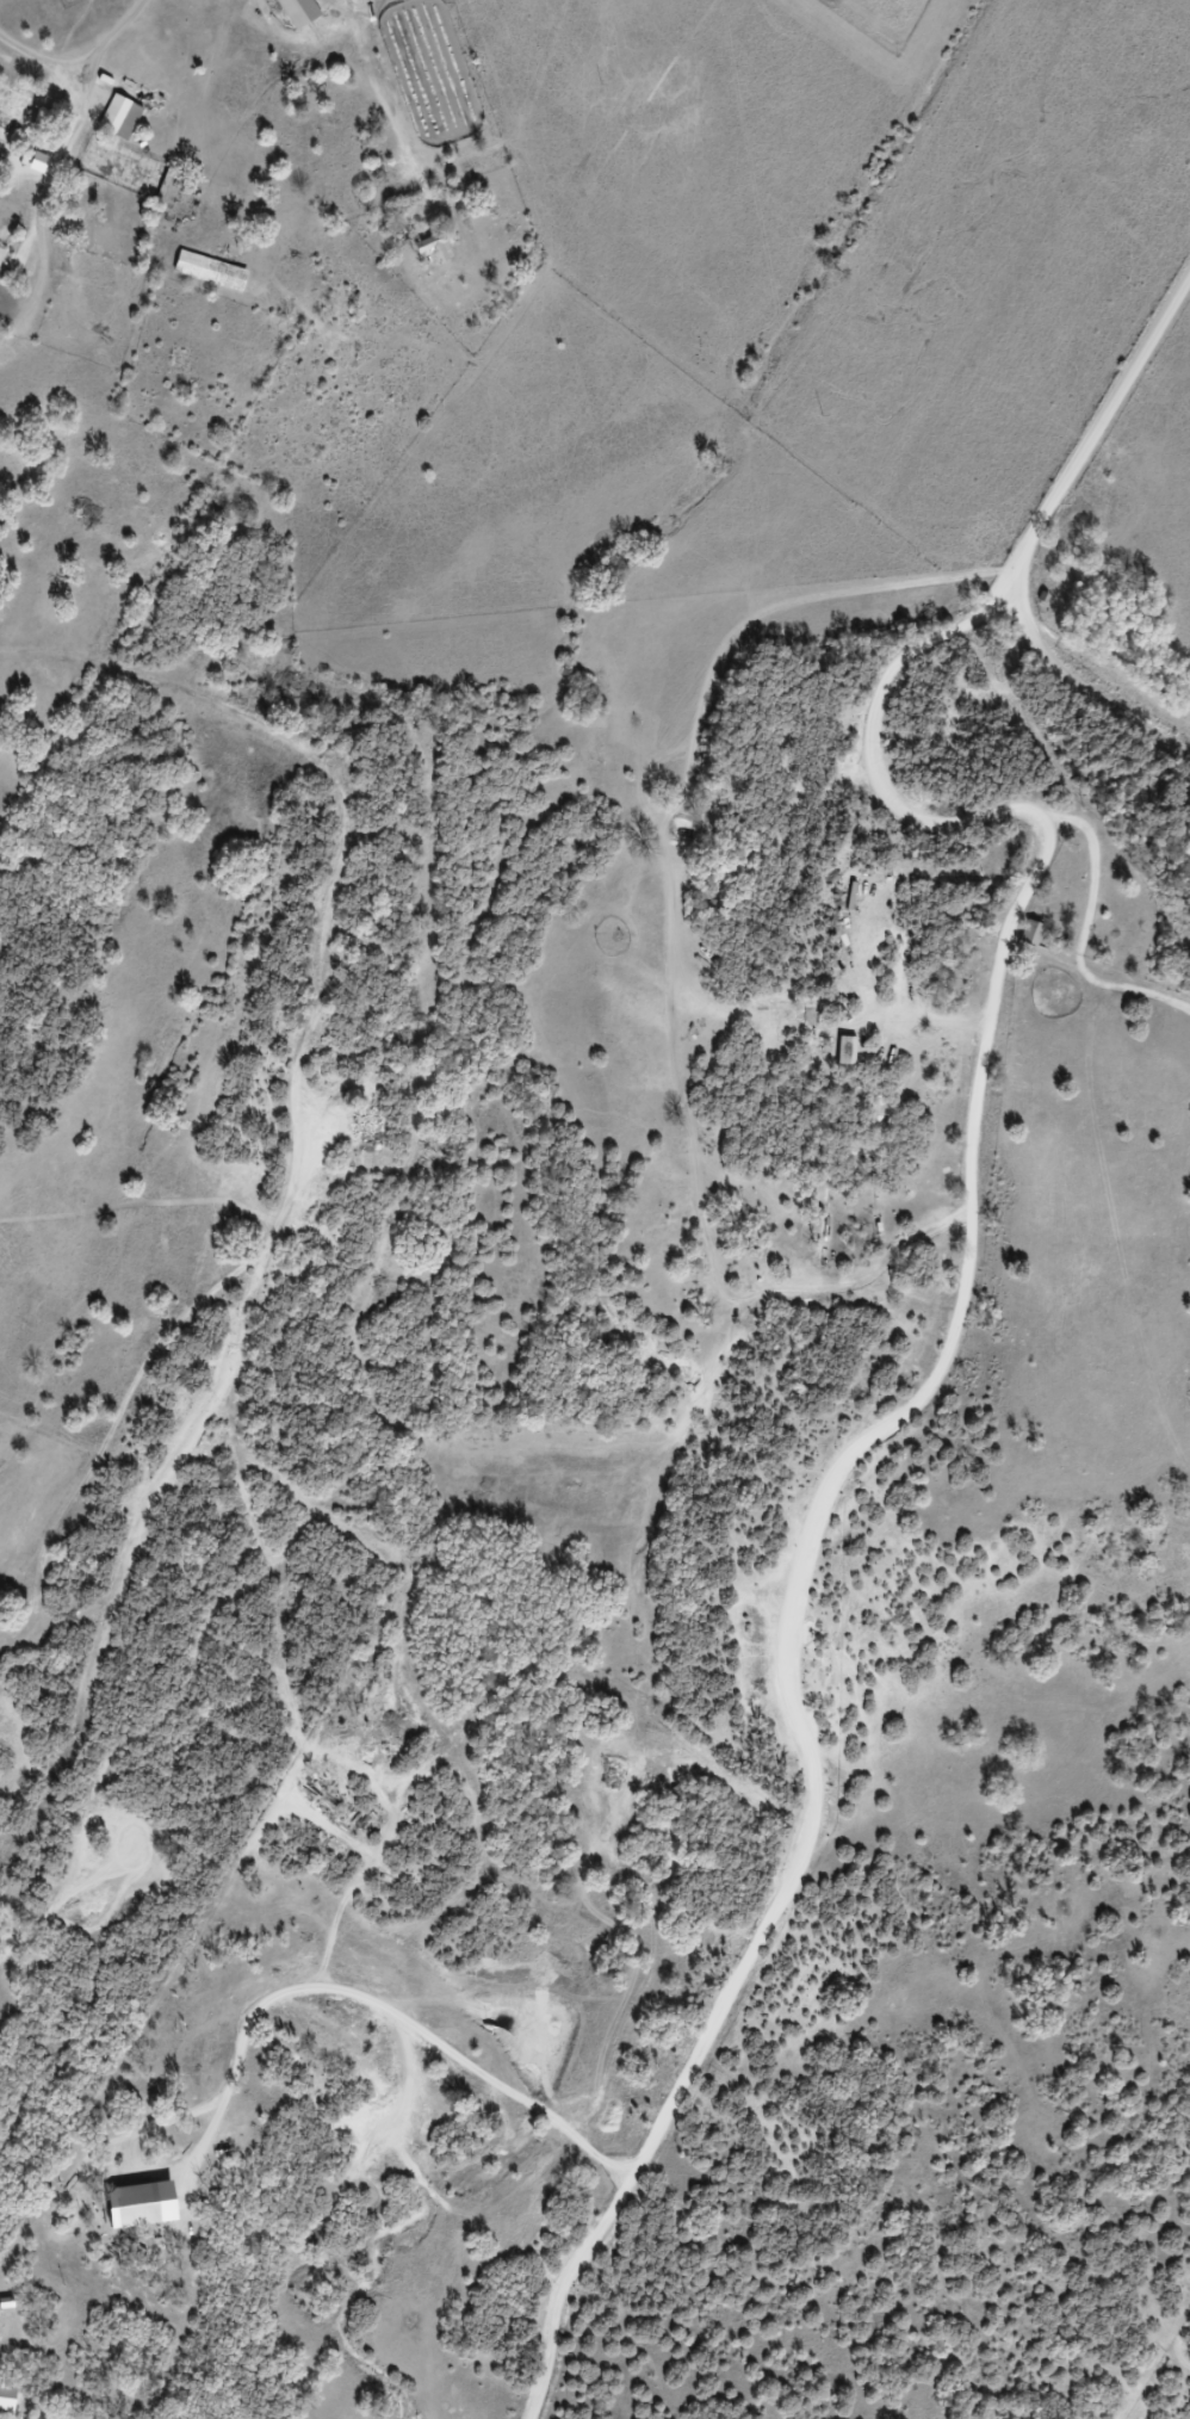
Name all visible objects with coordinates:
building: (289, 16)
road: (85, 68)
building: (8, 101)
road: (395, 118)
building: (112, 124)
building: (4, 131)
building: (428, 258)
building: (203, 278)
road: (1099, 431)
road: (1077, 692)
building: (1023, 940)
road: (893, 1430)
road: (390, 2010)
building: (128, 2213)

